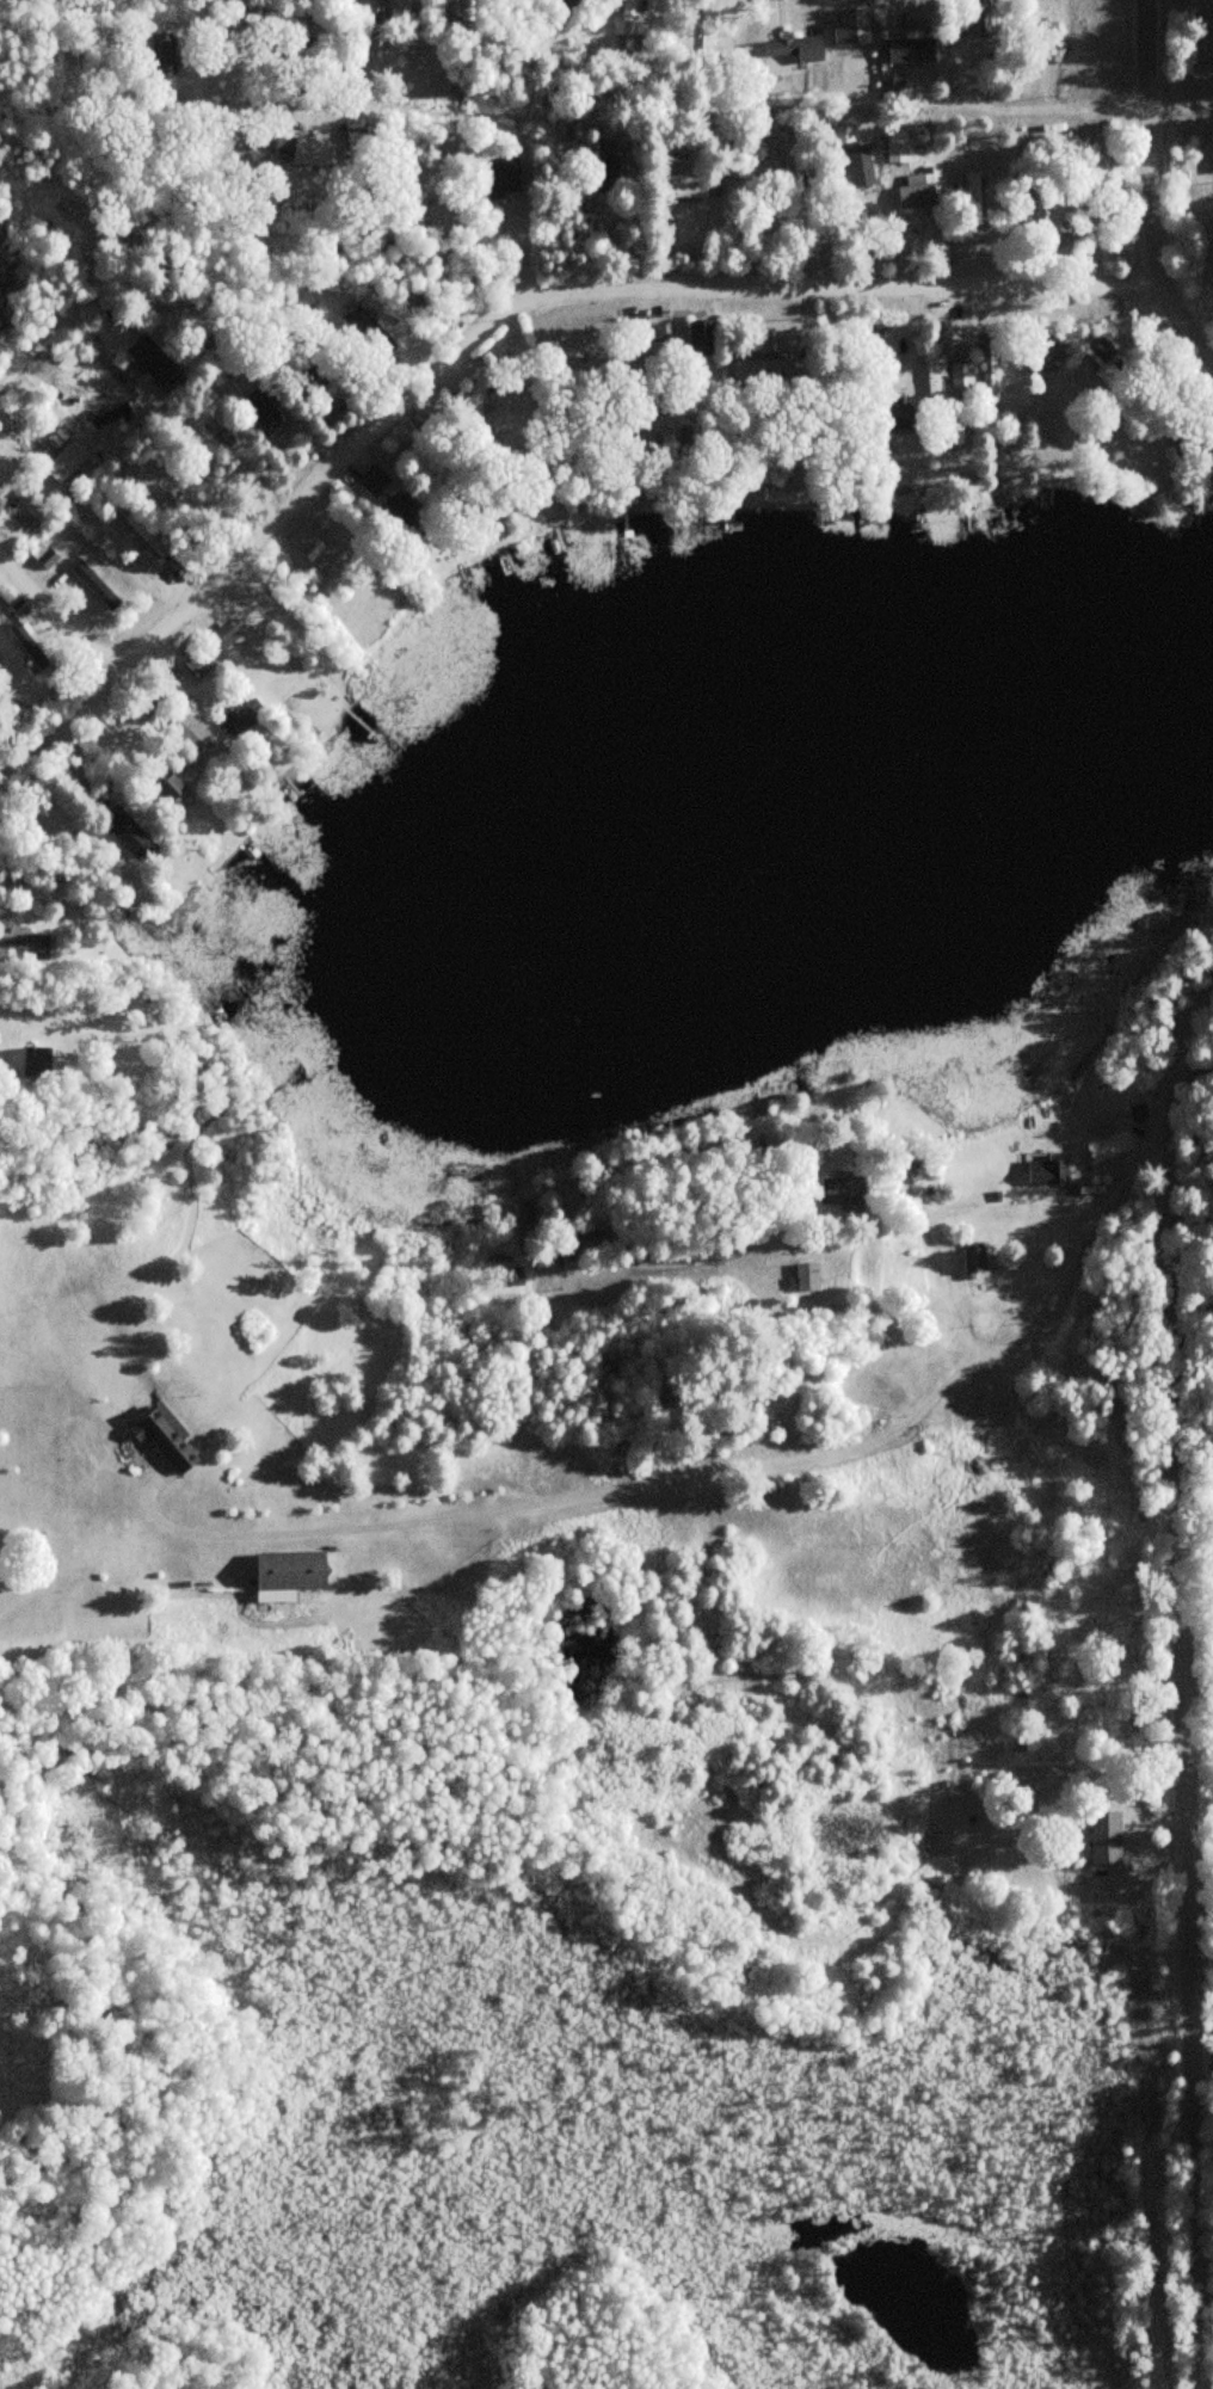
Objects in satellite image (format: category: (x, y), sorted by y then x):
building: (375, 7)
building: (577, 7)
building: (629, 18)
building: (983, 18)
building: (304, 30)
building: (833, 35)
building: (795, 48)
building: (912, 50)
building: (161, 54)
building: (898, 147)
building: (304, 150)
building: (854, 156)
building: (604, 171)
building: (793, 171)
building: (505, 174)
road: (1150, 189)
building: (917, 191)
building: (682, 192)
building: (973, 198)
road: (164, 205)
building: (400, 227)
road: (516, 308)
building: (372, 330)
building: (702, 335)
building: (1041, 352)
building: (154, 363)
building: (1104, 364)
building: (765, 365)
building: (642, 369)
building: (989, 371)
building: (934, 372)
building: (316, 375)
building: (839, 377)
building: (961, 377)
building: (476, 395)
building: (258, 410)
building: (897, 415)
building: (112, 419)
building: (1193, 443)
building: (70, 458)
building: (408, 458)
building: (371, 484)
building: (399, 515)
building: (146, 541)
building: (48, 559)
road: (55, 614)
building: (221, 638)
building: (197, 664)
building: (236, 719)
building: (187, 733)
building: (164, 786)
building: (128, 835)
building: (26, 941)
building: (4, 956)
building: (36, 1059)
building: (1139, 1112)
building: (1048, 1169)
building: (841, 1190)
building: (525, 1220)
building: (586, 1239)
building: (974, 1262)
building: (807, 1275)
road: (903, 1428)
building: (168, 1439)
building: (289, 1571)
road: (1180, 1679)
building: (1106, 1837)

